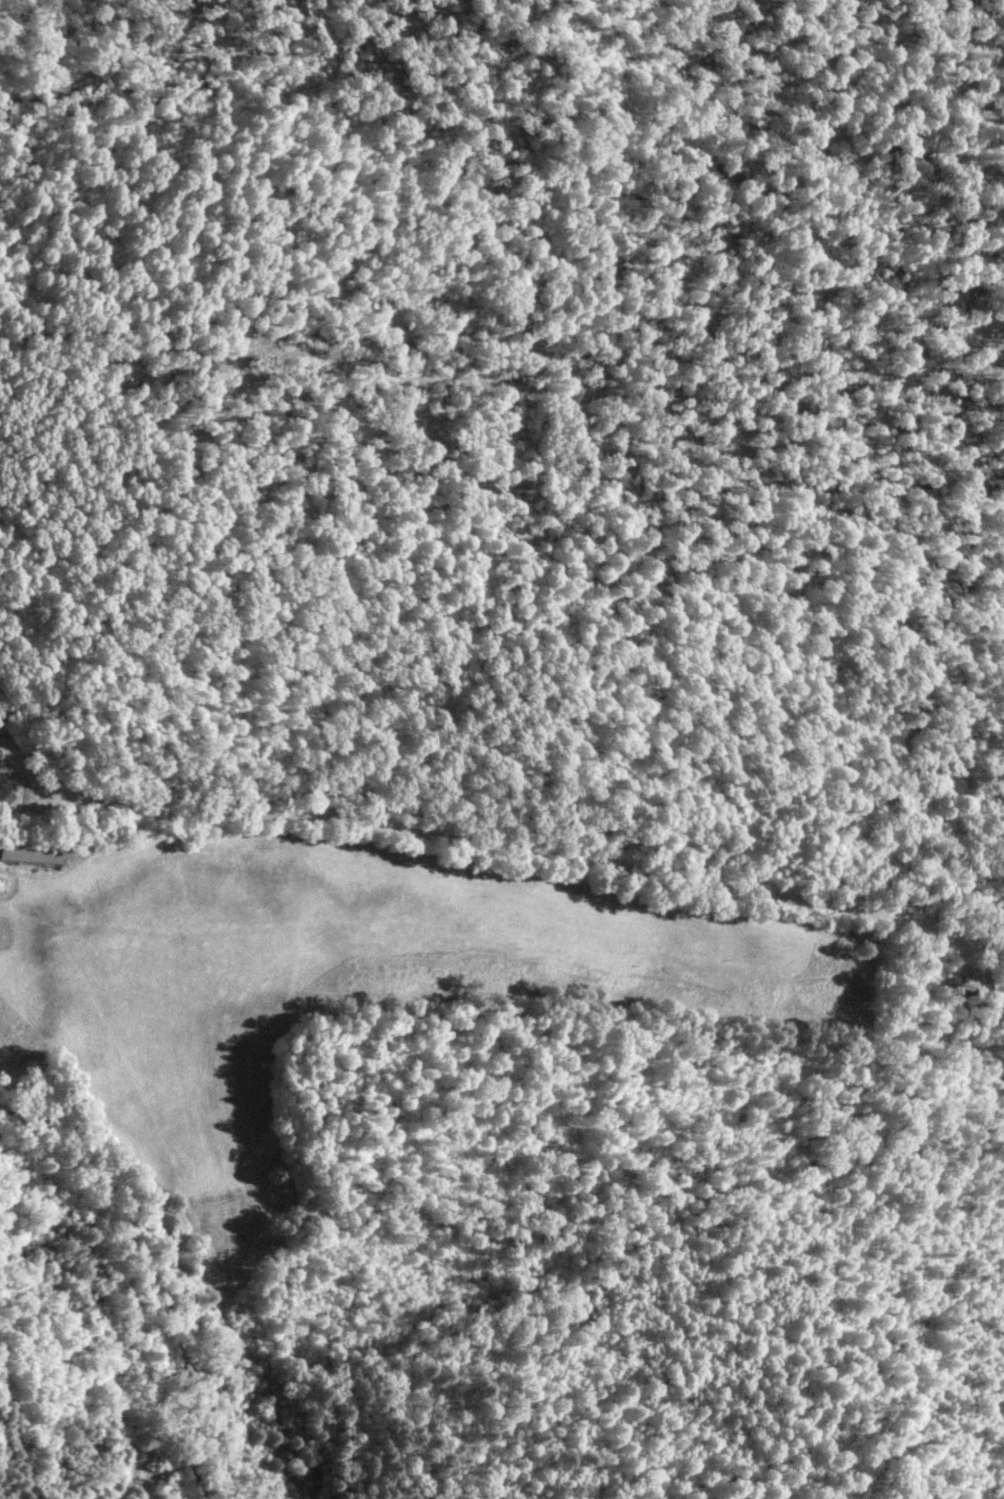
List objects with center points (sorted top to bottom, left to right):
road: (983, 28)
road: (88, 70)
road: (512, 391)
road: (502, 847)

